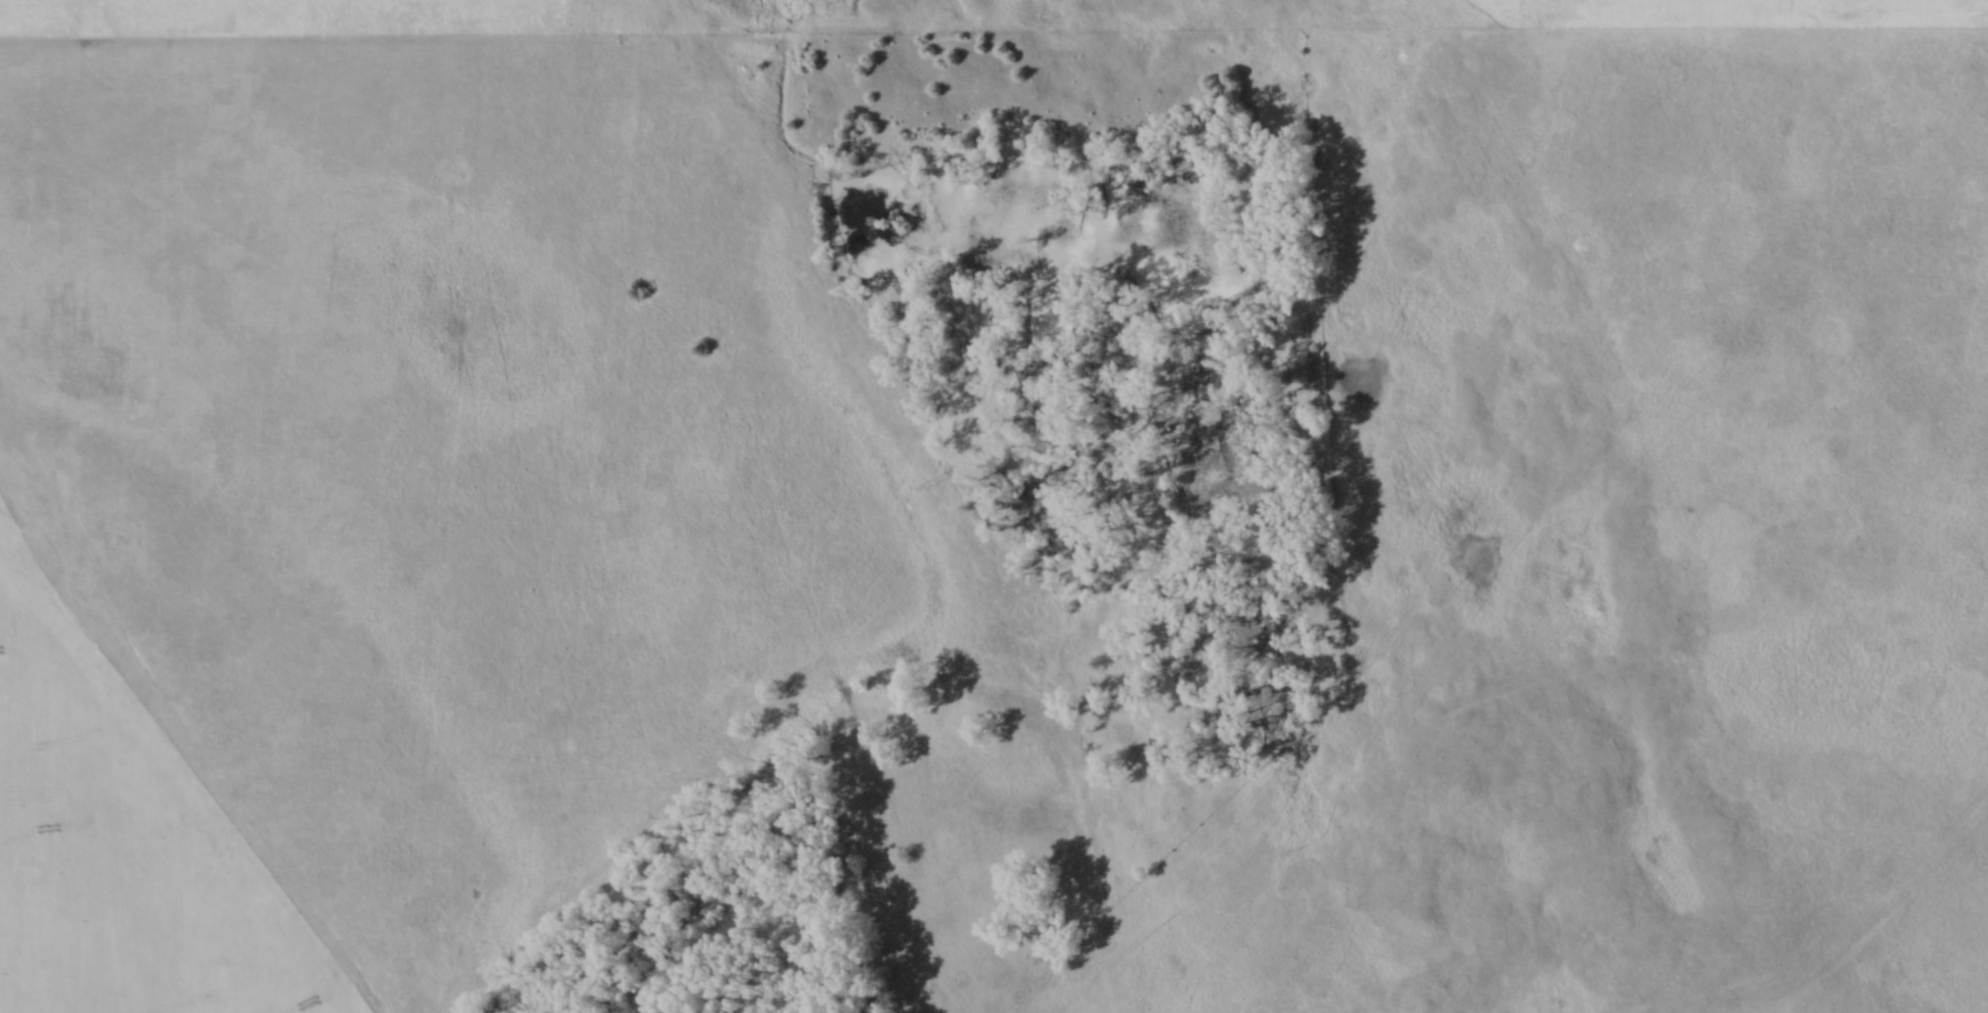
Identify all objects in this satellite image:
road: (1831, 940)

